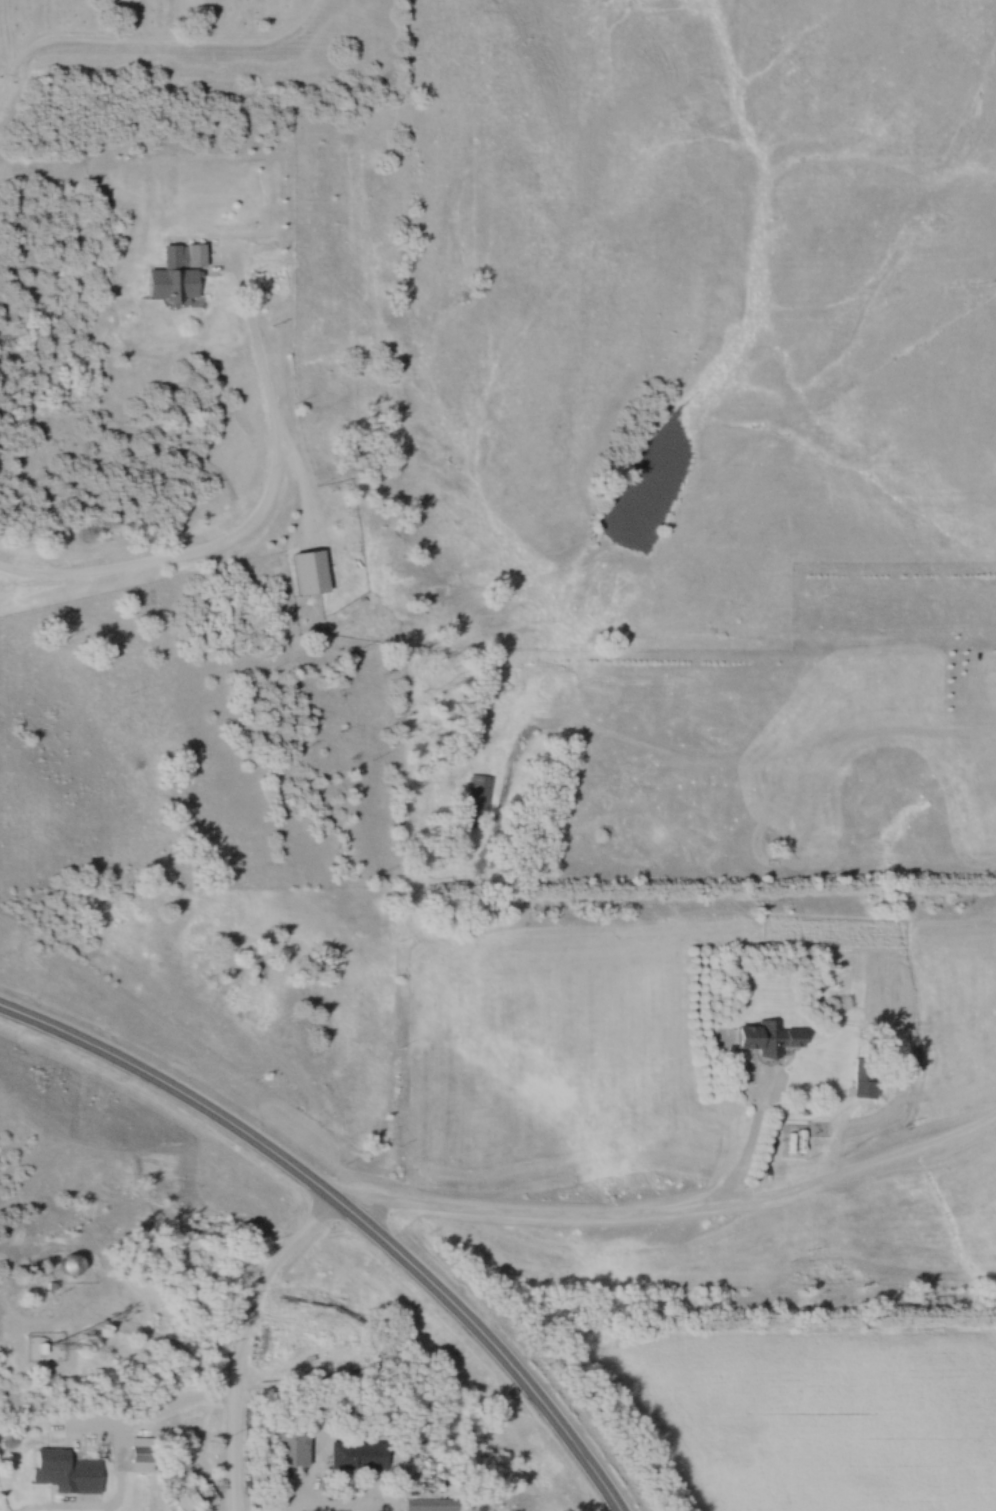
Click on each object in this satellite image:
road: (7, 36)
road: (164, 41)
park: (198, 46)
road: (5, 81)
building: (175, 274)
road: (255, 511)
building: (307, 573)
building: (476, 801)
building: (770, 1040)
building: (865, 1078)
road: (173, 1091)
road: (849, 1166)
road: (14, 1210)
road: (602, 1216)
building: (12, 1236)
road: (261, 1286)
road: (113, 1331)
road: (490, 1342)
road: (145, 1421)
building: (291, 1450)
road: (232, 1453)
building: (134, 1456)
building: (357, 1457)
building: (51, 1460)
building: (184, 1498)
road: (326, 1501)
building: (429, 1505)

